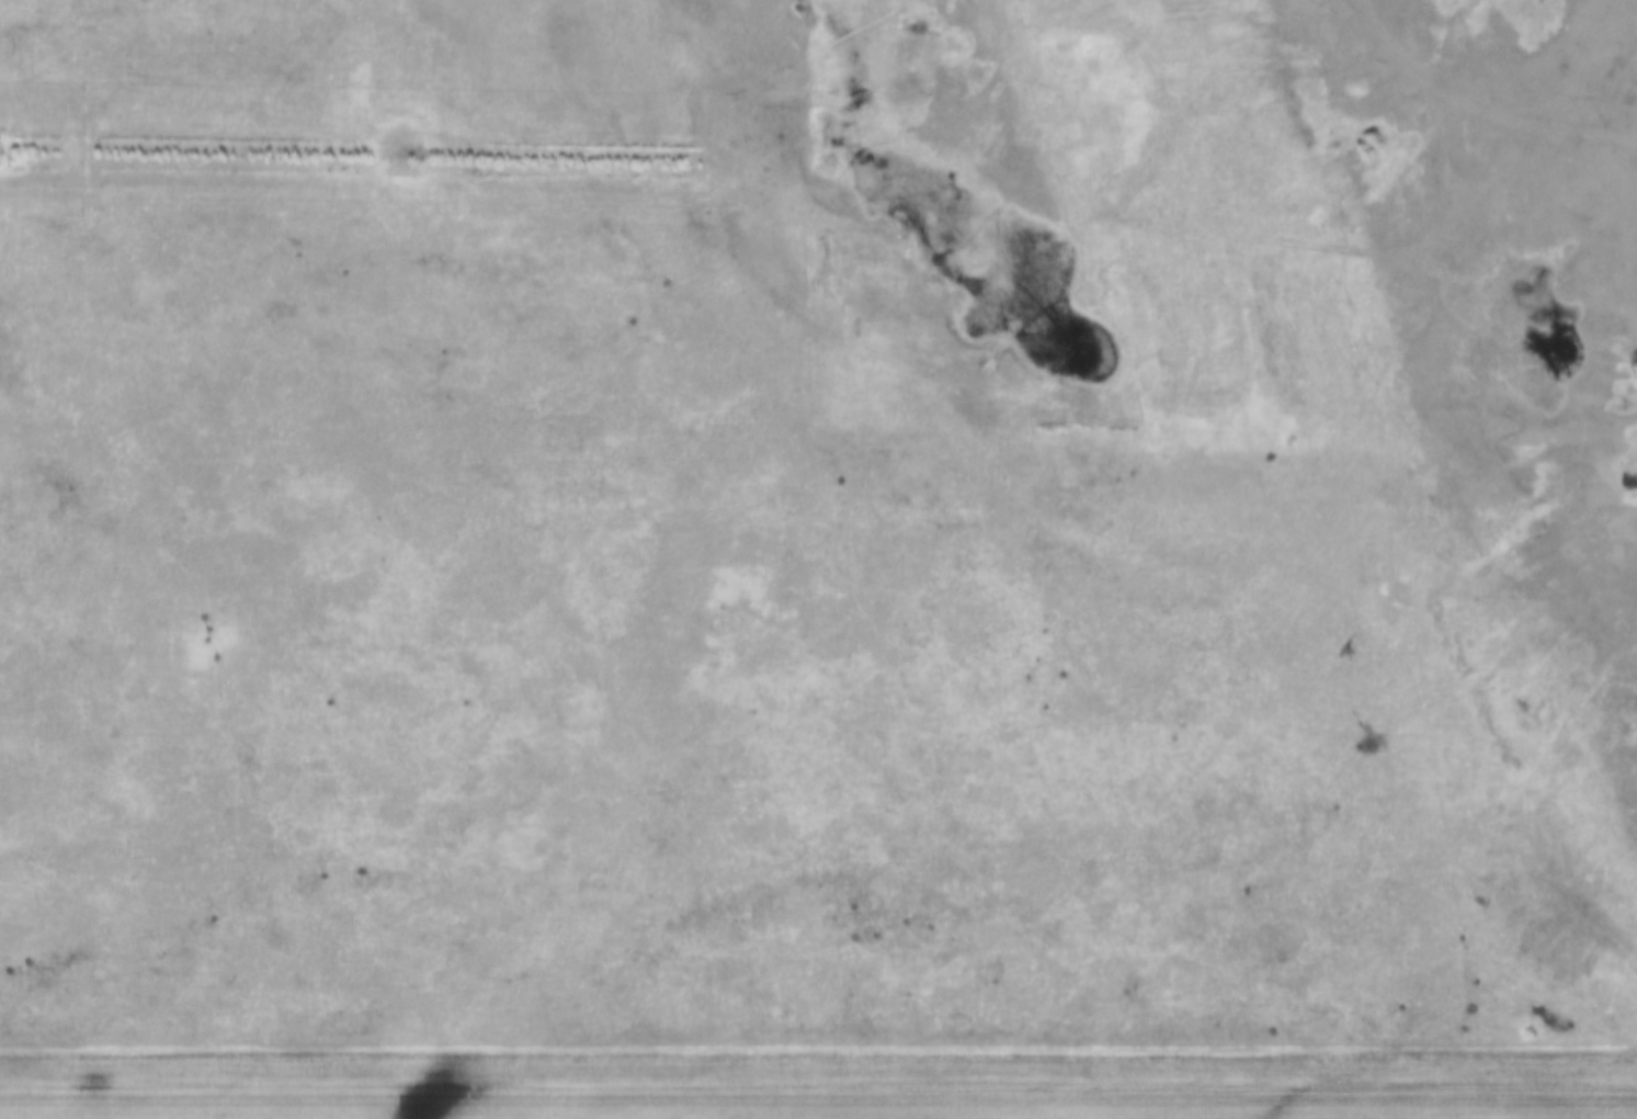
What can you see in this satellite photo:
road: (1361, 9)
quarry: (1508, 318)

